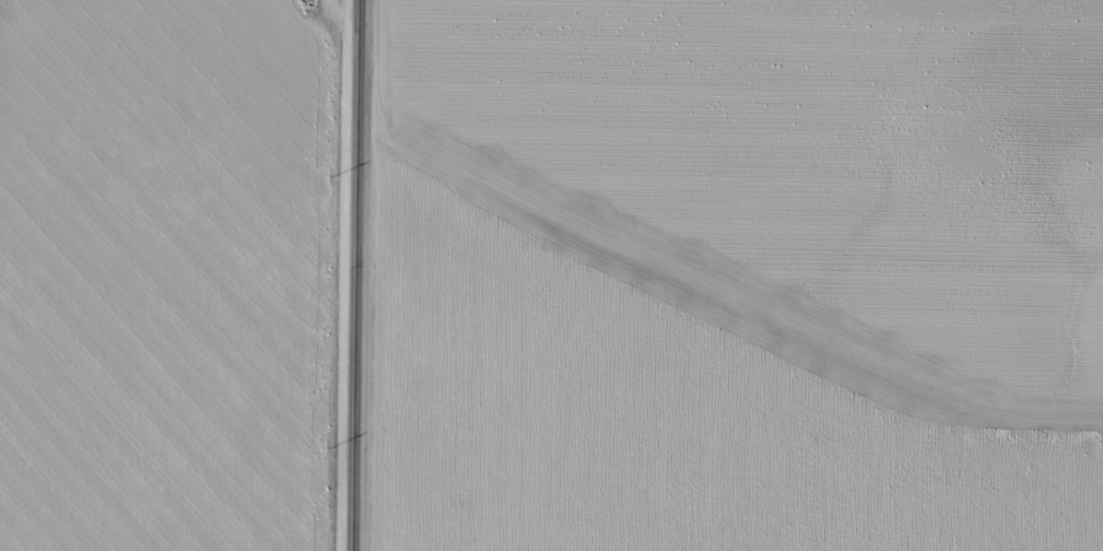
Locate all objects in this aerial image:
road: (368, 275)

